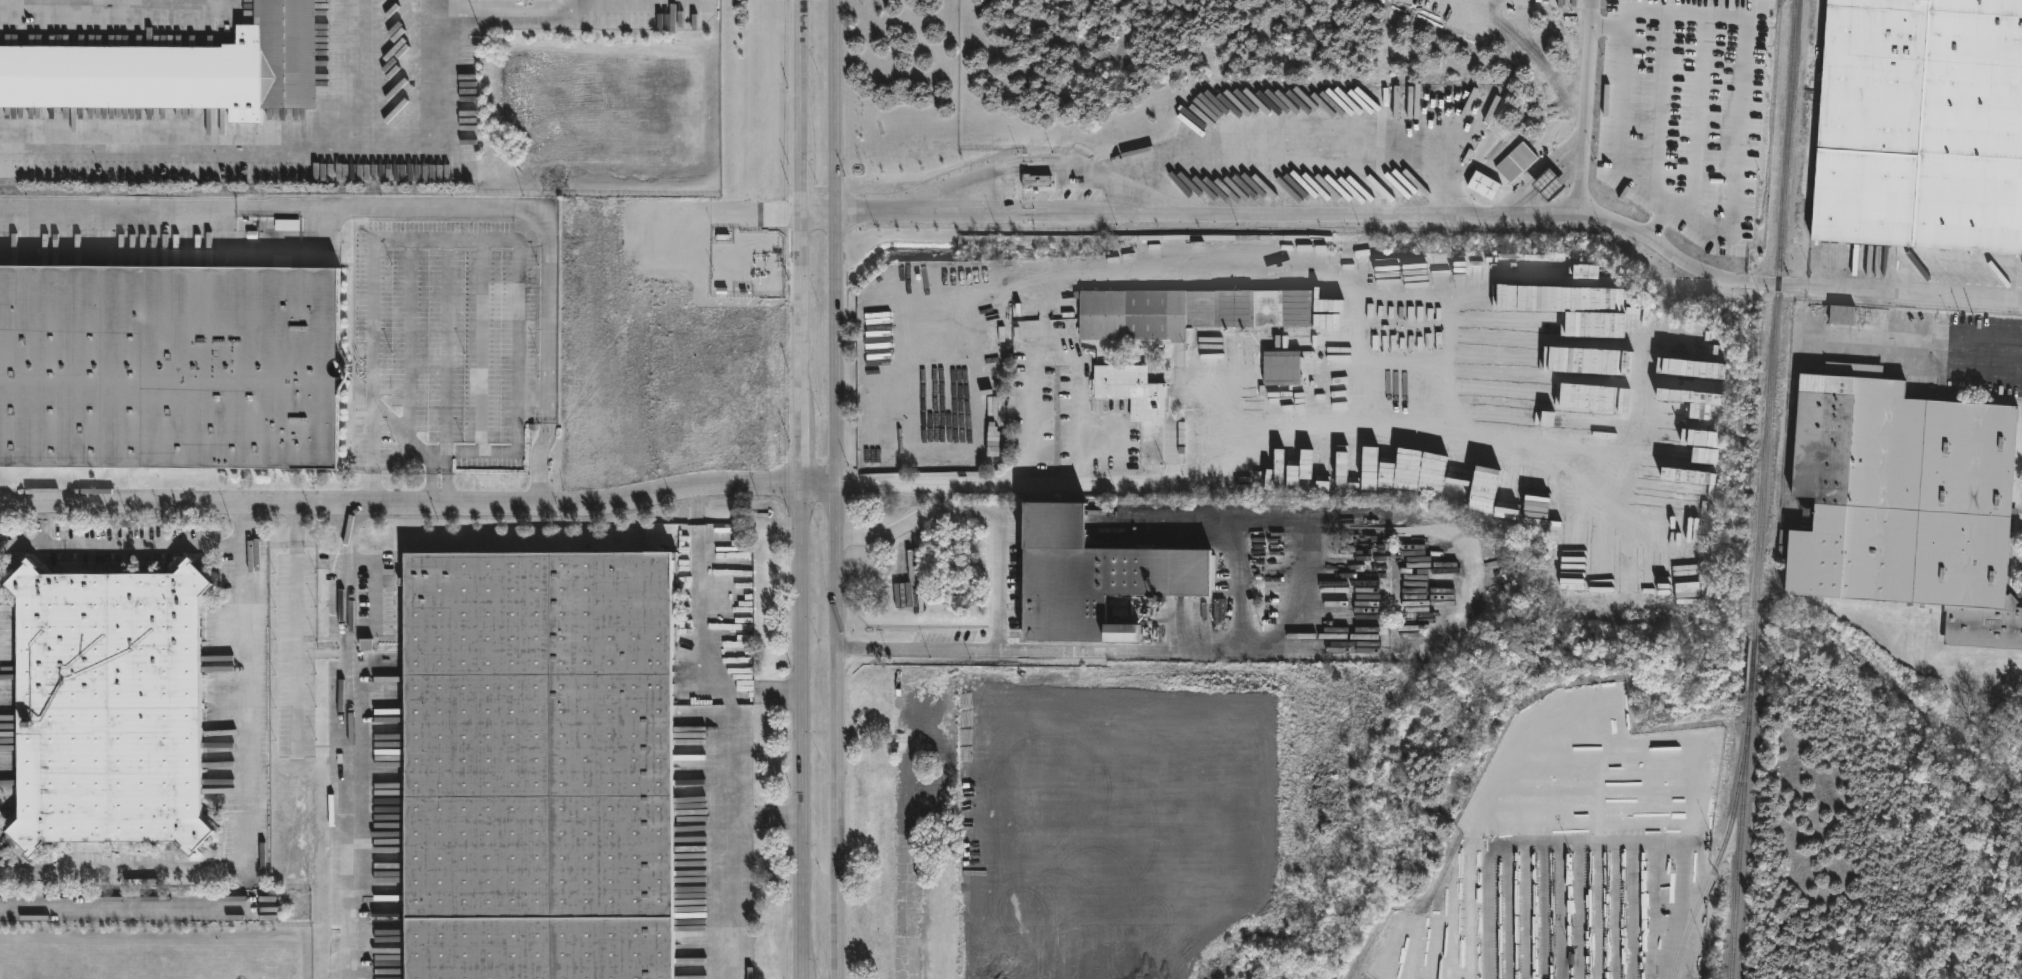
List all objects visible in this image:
road: (634, 2)
road: (430, 8)
road: (508, 16)
road: (1739, 18)
road: (1608, 32)
building: (176, 69)
road: (365, 74)
road: (1699, 121)
building: (1920, 125)
road: (108, 147)
road: (387, 149)
road: (1300, 152)
building: (1518, 162)
road: (1053, 163)
building: (1037, 180)
building: (1484, 185)
building: (1551, 185)
road: (425, 211)
road: (1315, 215)
road: (819, 217)
road: (496, 238)
road: (1793, 284)
building: (1588, 310)
building: (1189, 311)
building: (1844, 315)
railway: (1775, 319)
road: (454, 346)
road: (1951, 353)
building: (1556, 359)
building: (1283, 367)
building: (171, 369)
road: (1029, 396)
building: (1181, 399)
building: (1137, 403)
building: (1558, 411)
road: (430, 481)
road: (448, 482)
road: (804, 489)
road: (839, 489)
building: (1909, 500)
road: (420, 508)
road: (42, 522)
road: (143, 549)
building: (1096, 574)
road: (349, 577)
road: (999, 578)
road: (295, 581)
road: (697, 611)
road: (1279, 646)
road: (325, 654)
railway: (1751, 664)
road: (763, 694)
road: (296, 701)
building: (106, 706)
building: (538, 764)
road: (352, 812)
road: (247, 828)
railway: (1738, 833)
road: (730, 849)
railway: (1714, 861)
road: (124, 903)

